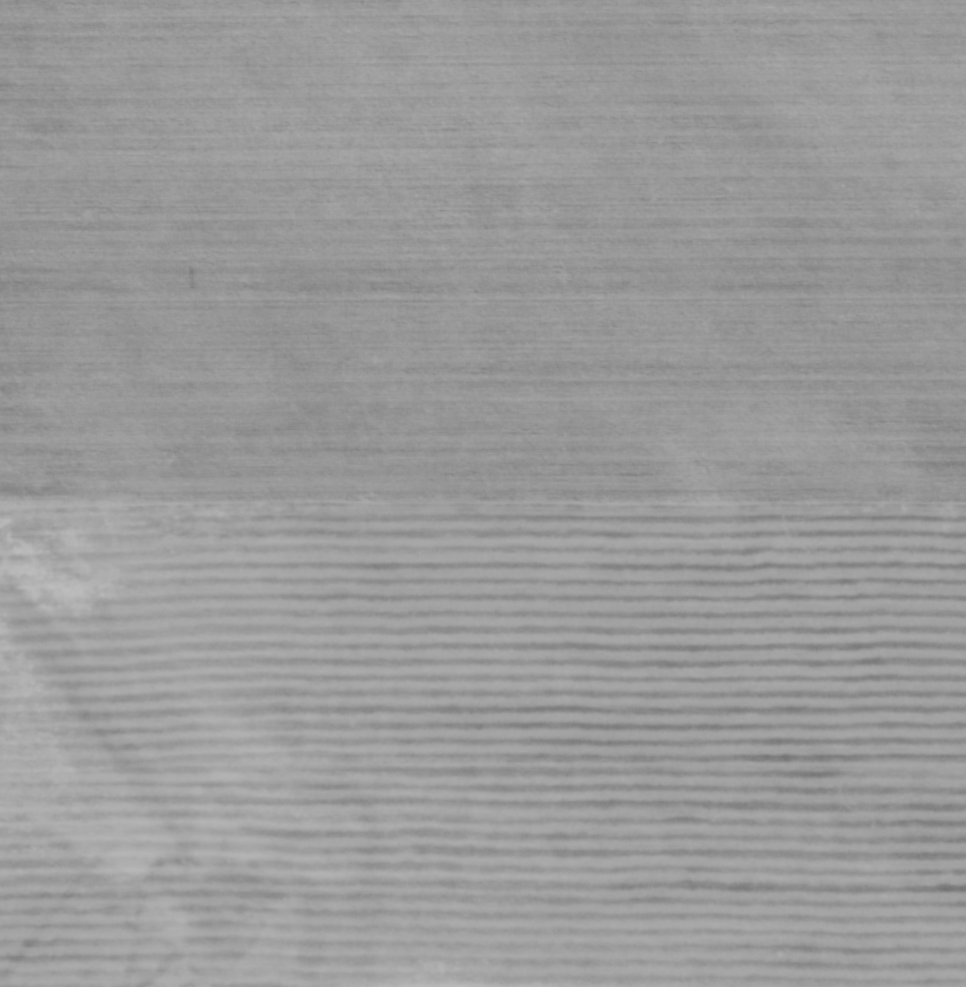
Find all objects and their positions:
crop: (483, 493)

